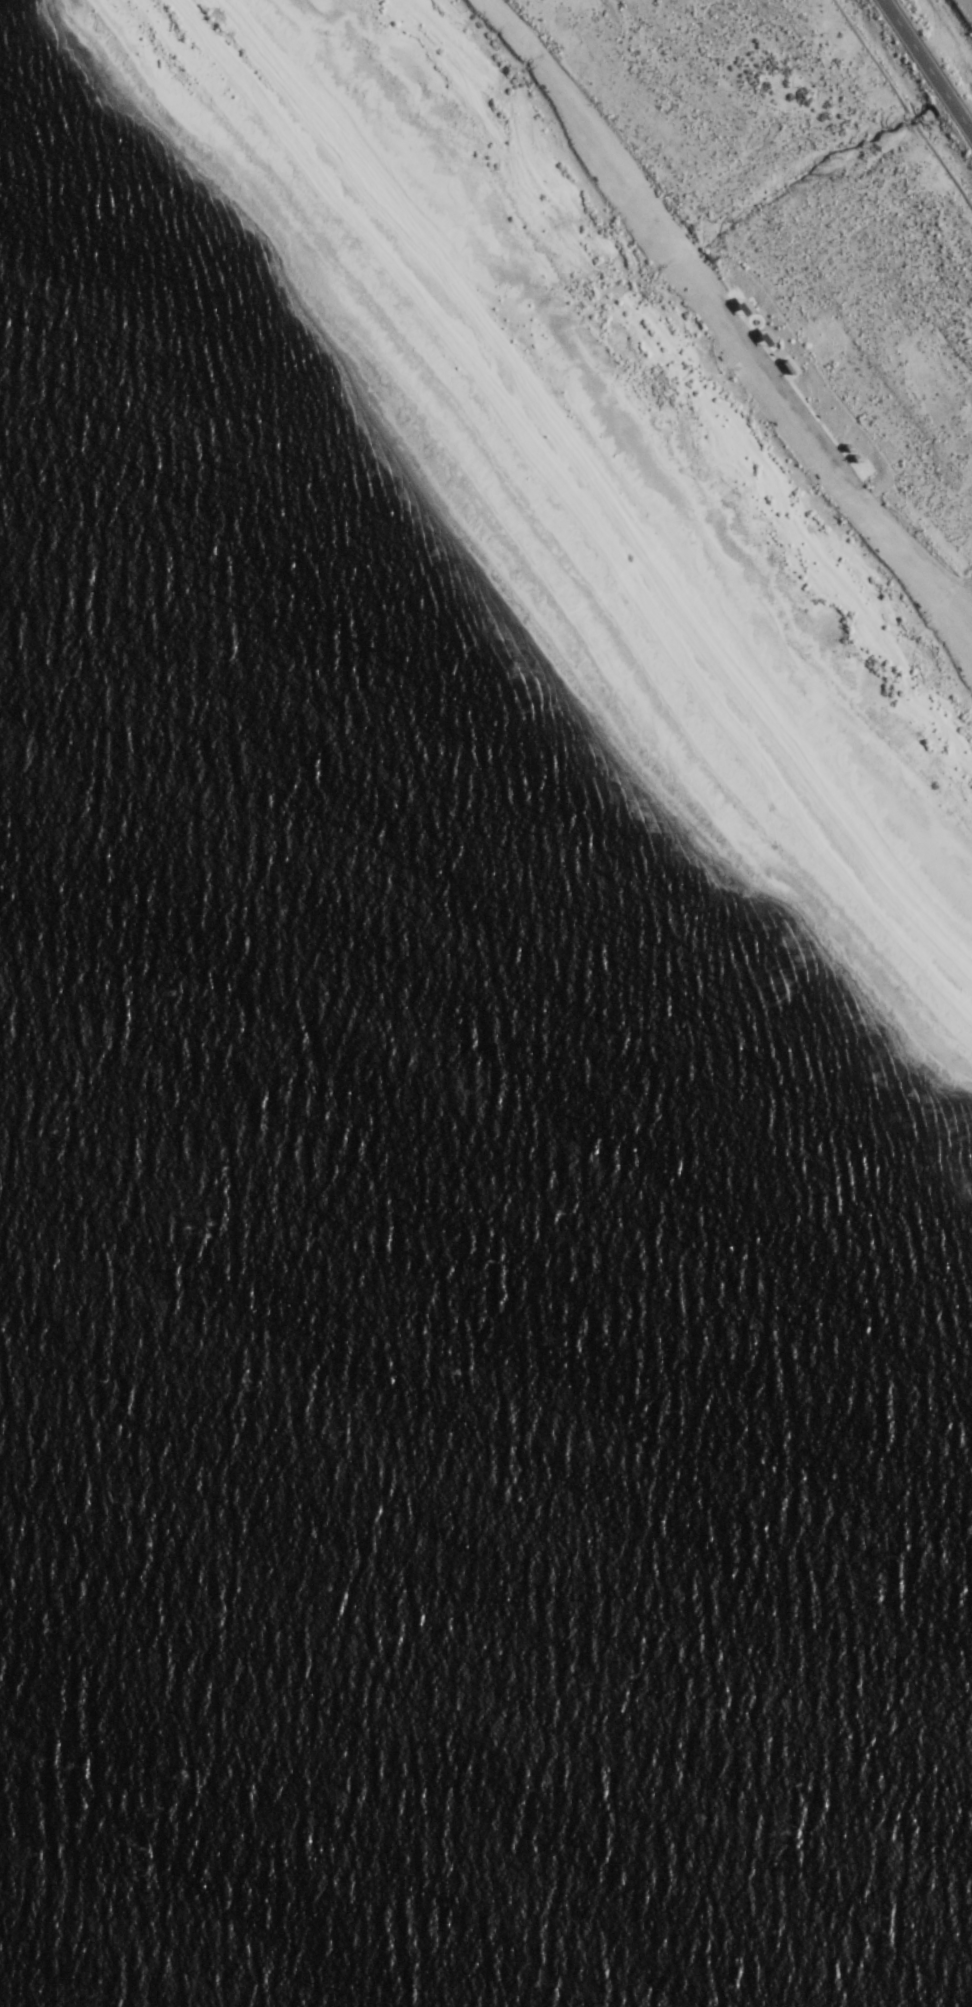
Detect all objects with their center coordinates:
road: (926, 69)
road: (707, 420)

